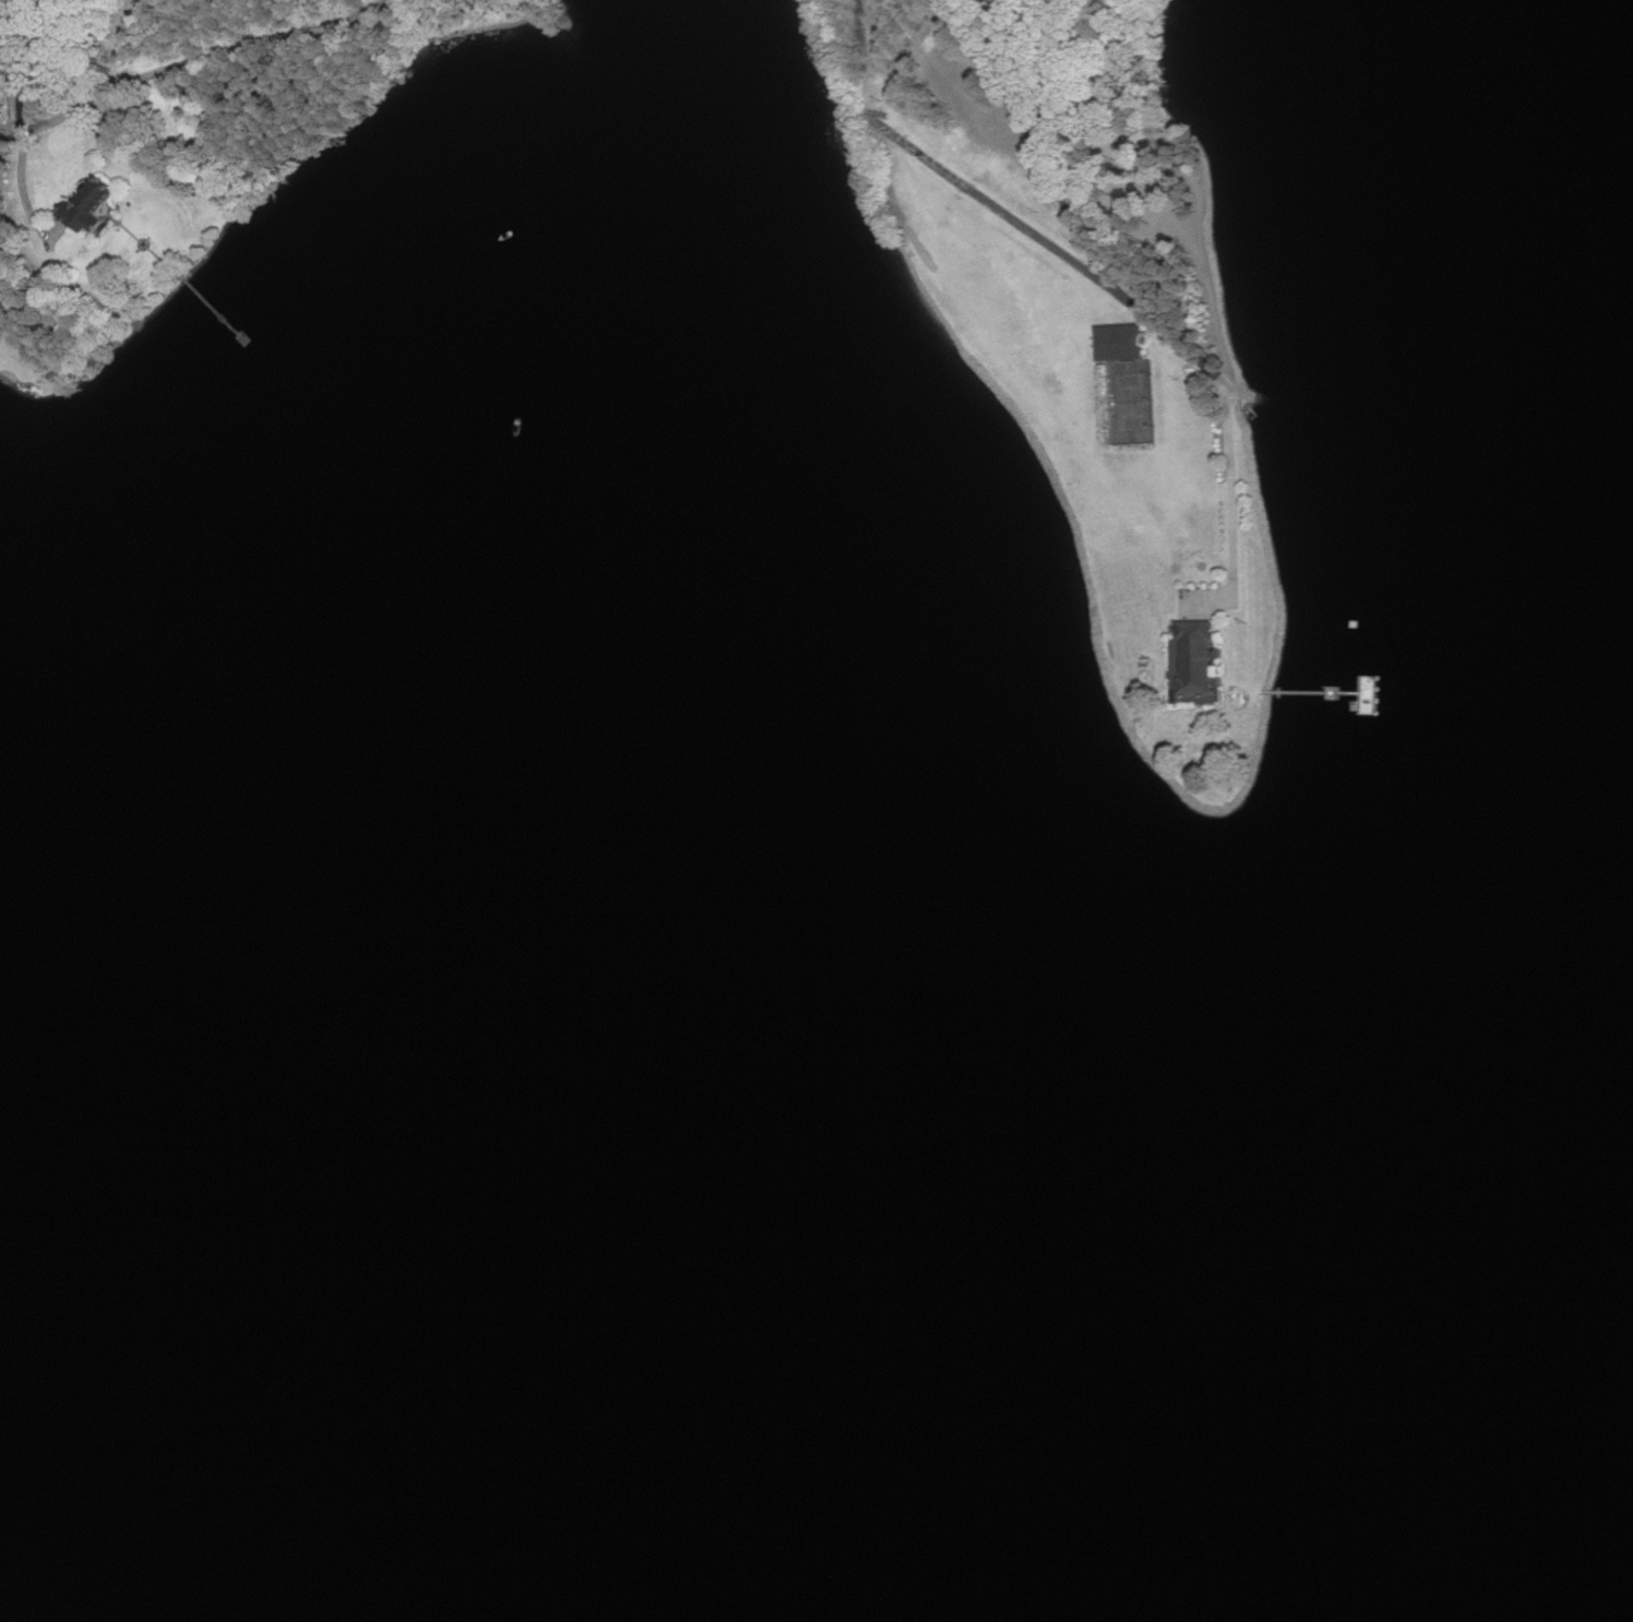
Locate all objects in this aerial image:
road: (22, 124)
road: (1030, 140)
building: (87, 207)
road: (1049, 241)
building: (1123, 343)
park: (1133, 402)
road: (1233, 491)
building: (1197, 659)
building: (1373, 709)

